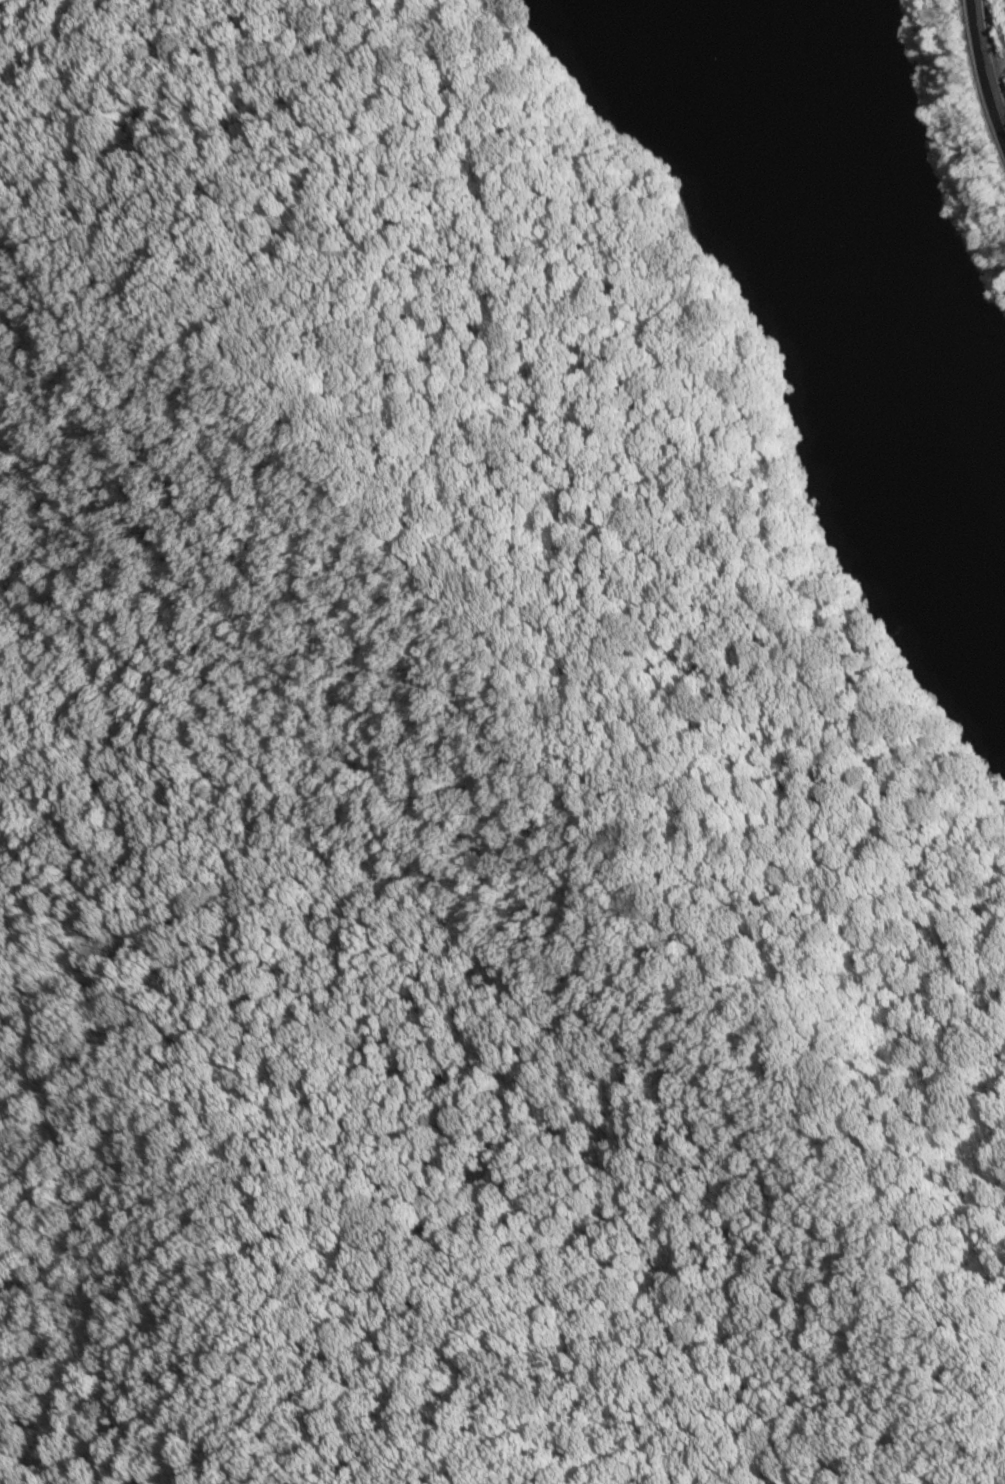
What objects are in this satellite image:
road: (994, 67)
road: (983, 71)
river: (835, 228)

